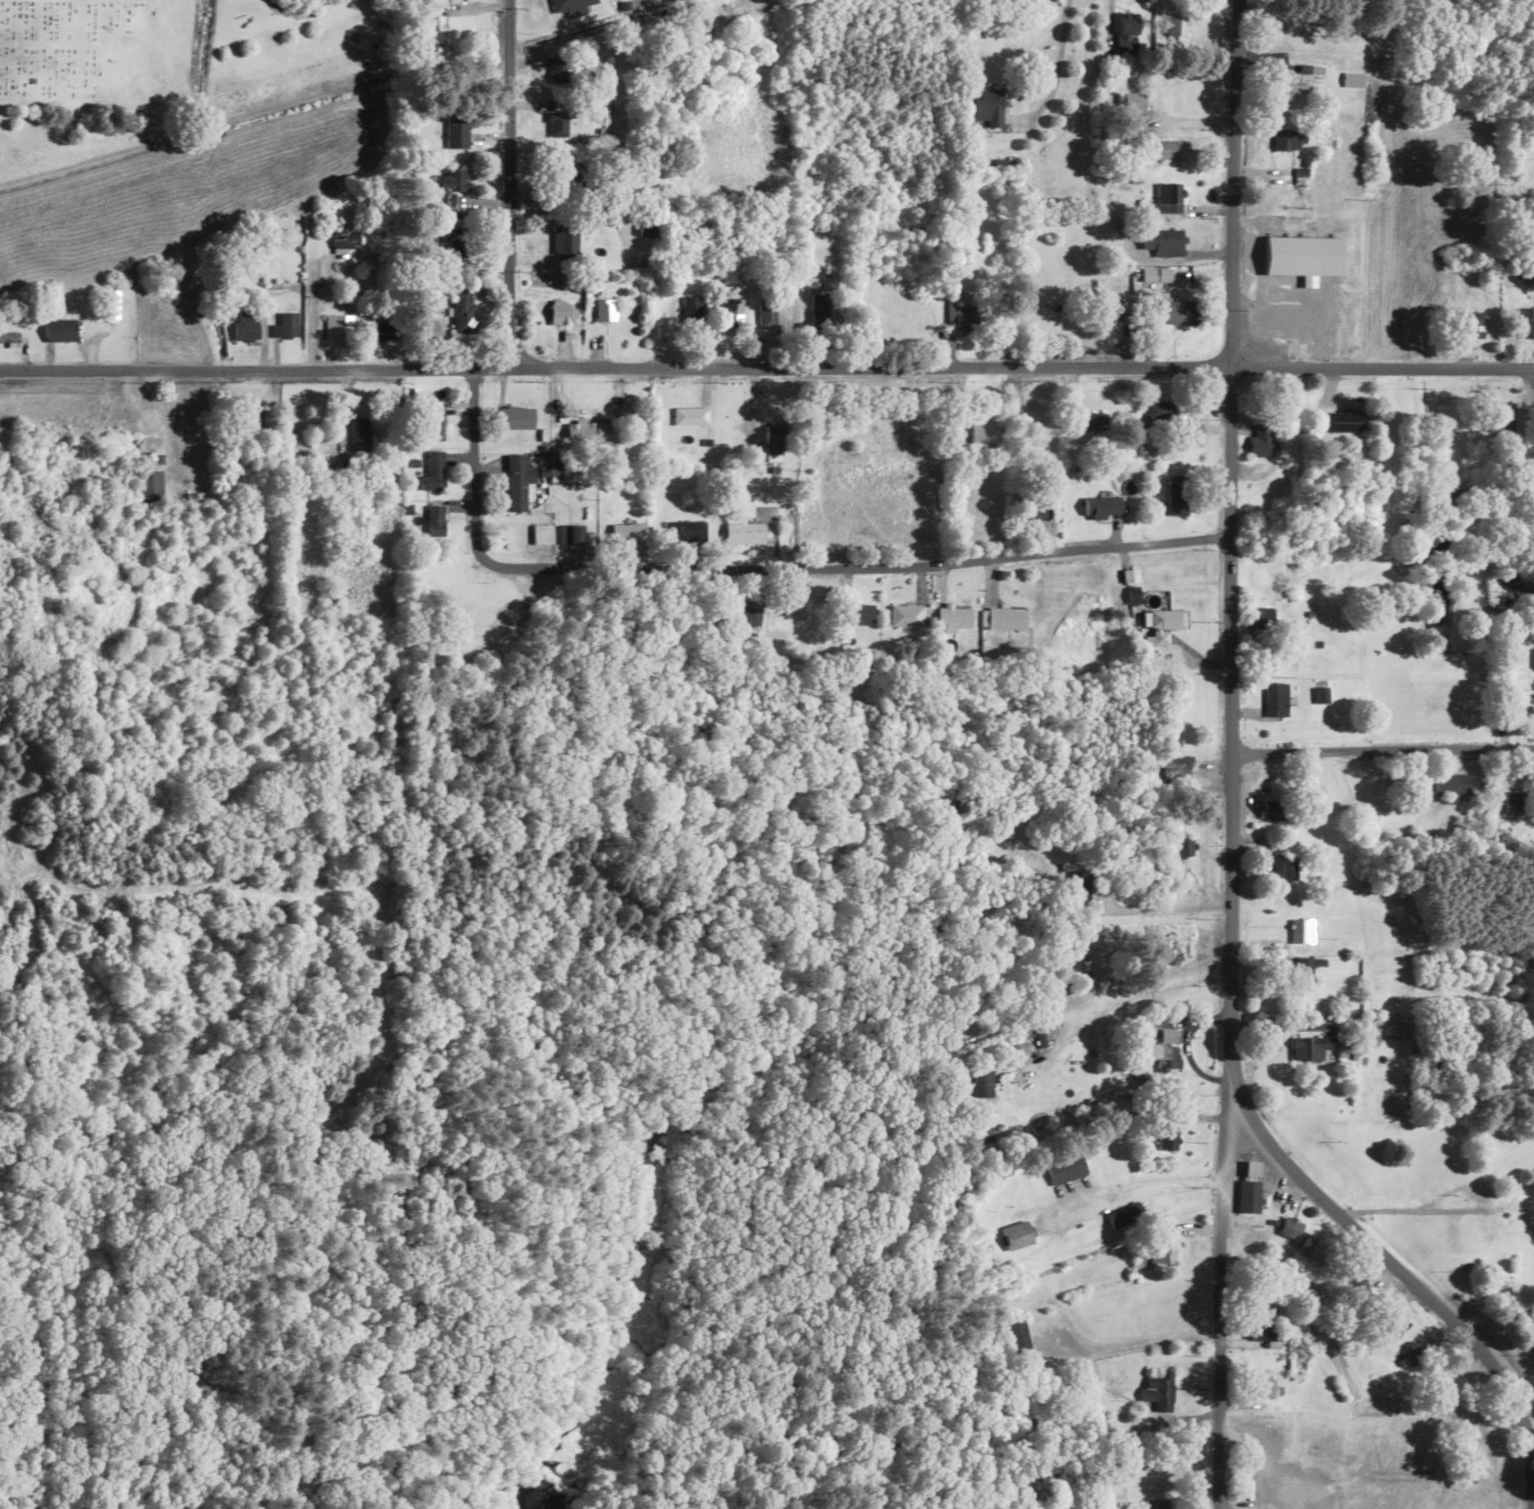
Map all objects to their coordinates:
building: (572, 6)
building: (1176, 24)
building: (428, 33)
building: (1127, 37)
building: (1352, 79)
building: (1295, 92)
building: (1130, 102)
building: (987, 107)
building: (456, 130)
building: (571, 130)
building: (1288, 140)
building: (1167, 149)
building: (454, 181)
road: (508, 184)
building: (1168, 197)
building: (647, 227)
building: (346, 238)
building: (565, 240)
building: (457, 242)
building: (1162, 242)
building: (1287, 252)
road: (309, 303)
building: (112, 305)
building: (820, 309)
building: (1114, 309)
building: (463, 310)
building: (692, 310)
building: (605, 311)
building: (560, 312)
building: (729, 312)
building: (1177, 312)
building: (1285, 312)
building: (766, 315)
building: (960, 317)
building: (1527, 323)
building: (1474, 325)
building: (246, 326)
building: (285, 326)
building: (338, 328)
building: (60, 330)
building: (385, 331)
building: (9, 338)
road: (766, 368)
road: (1533, 378)
building: (1159, 410)
building: (690, 416)
building: (1504, 416)
building: (516, 417)
building: (253, 419)
building: (1092, 421)
building: (1344, 421)
building: (434, 423)
building: (359, 432)
building: (581, 434)
building: (878, 434)
building: (984, 434)
building: (1044, 434)
building: (774, 443)
building: (899, 443)
building: (149, 446)
building: (1261, 446)
building: (434, 472)
building: (518, 483)
building: (149, 488)
building: (1177, 496)
building: (1451, 496)
building: (1103, 504)
building: (1034, 510)
building: (435, 522)
road: (1227, 523)
building: (688, 531)
building: (540, 532)
building: (629, 532)
building: (744, 533)
building: (571, 535)
road: (757, 569)
building: (1518, 586)
building: (857, 614)
building: (907, 615)
building: (951, 616)
building: (1257, 617)
building: (1006, 618)
building: (1161, 625)
building: (1321, 695)
building: (1277, 699)
building: (1515, 713)
road: (1381, 751)
building: (1174, 768)
building: (1451, 786)
building: (1272, 809)
building: (1182, 846)
building: (1281, 868)
building: (1301, 931)
building: (1077, 947)
building: (1302, 970)
road: (1126, 994)
building: (1312, 1047)
building: (1165, 1050)
building: (981, 1081)
building: (1166, 1138)
building: (1249, 1195)
building: (1125, 1214)
building: (1291, 1228)
building: (1484, 1233)
building: (1018, 1235)
building: (1165, 1248)
road: (1397, 1270)
road: (1219, 1278)
building: (1016, 1330)
building: (1266, 1333)
building: (1262, 1387)
building: (1158, 1392)
building: (1157, 1504)

